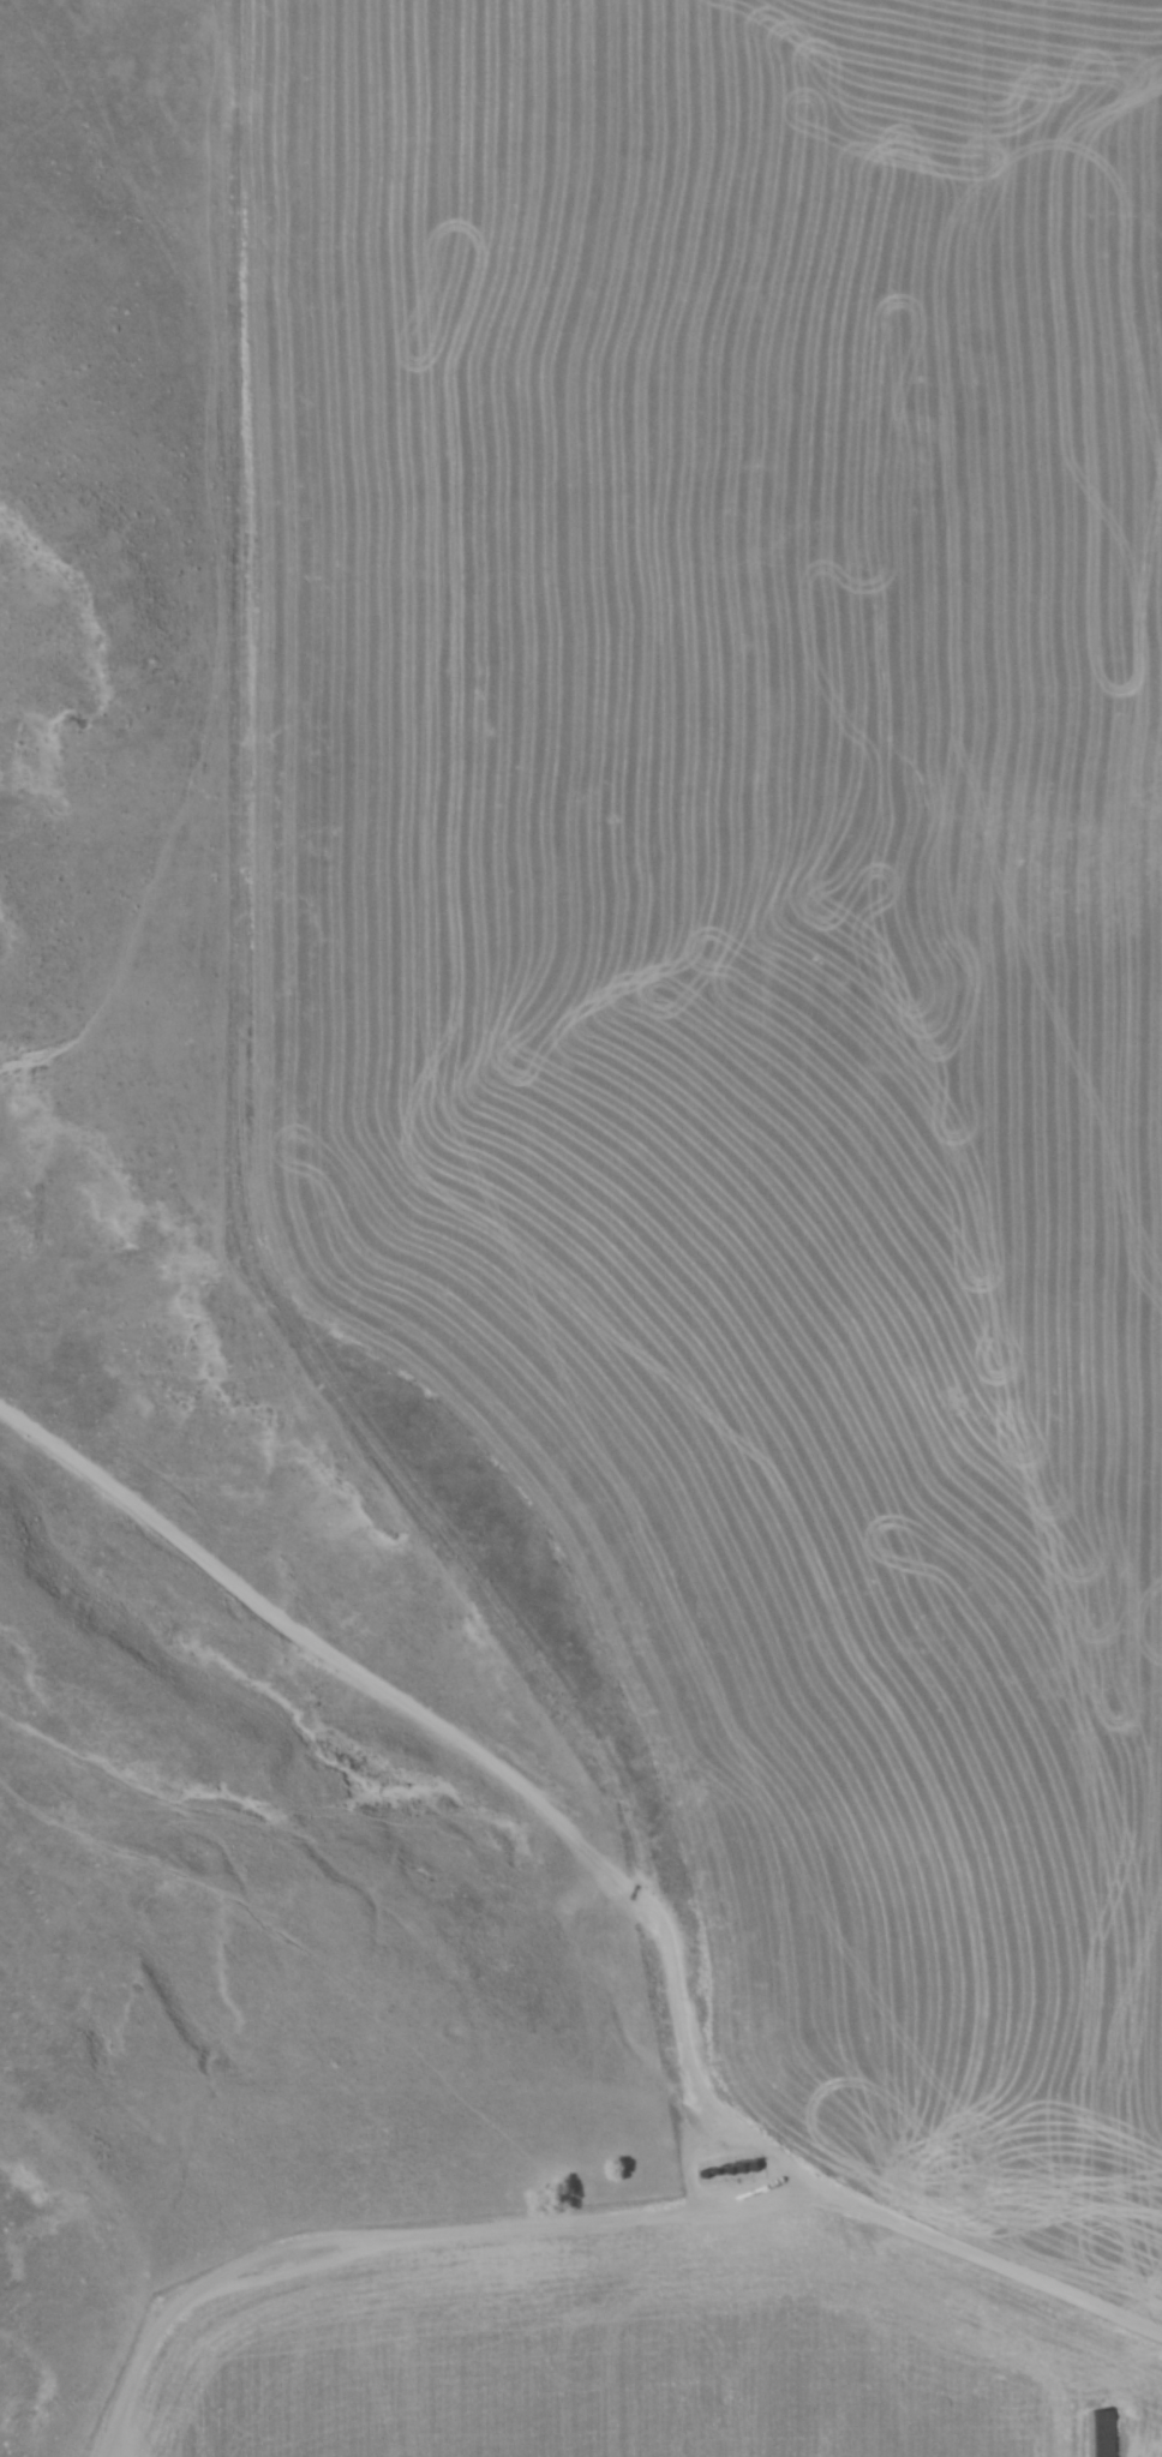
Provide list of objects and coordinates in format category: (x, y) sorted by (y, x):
building: (1104, 2433)

